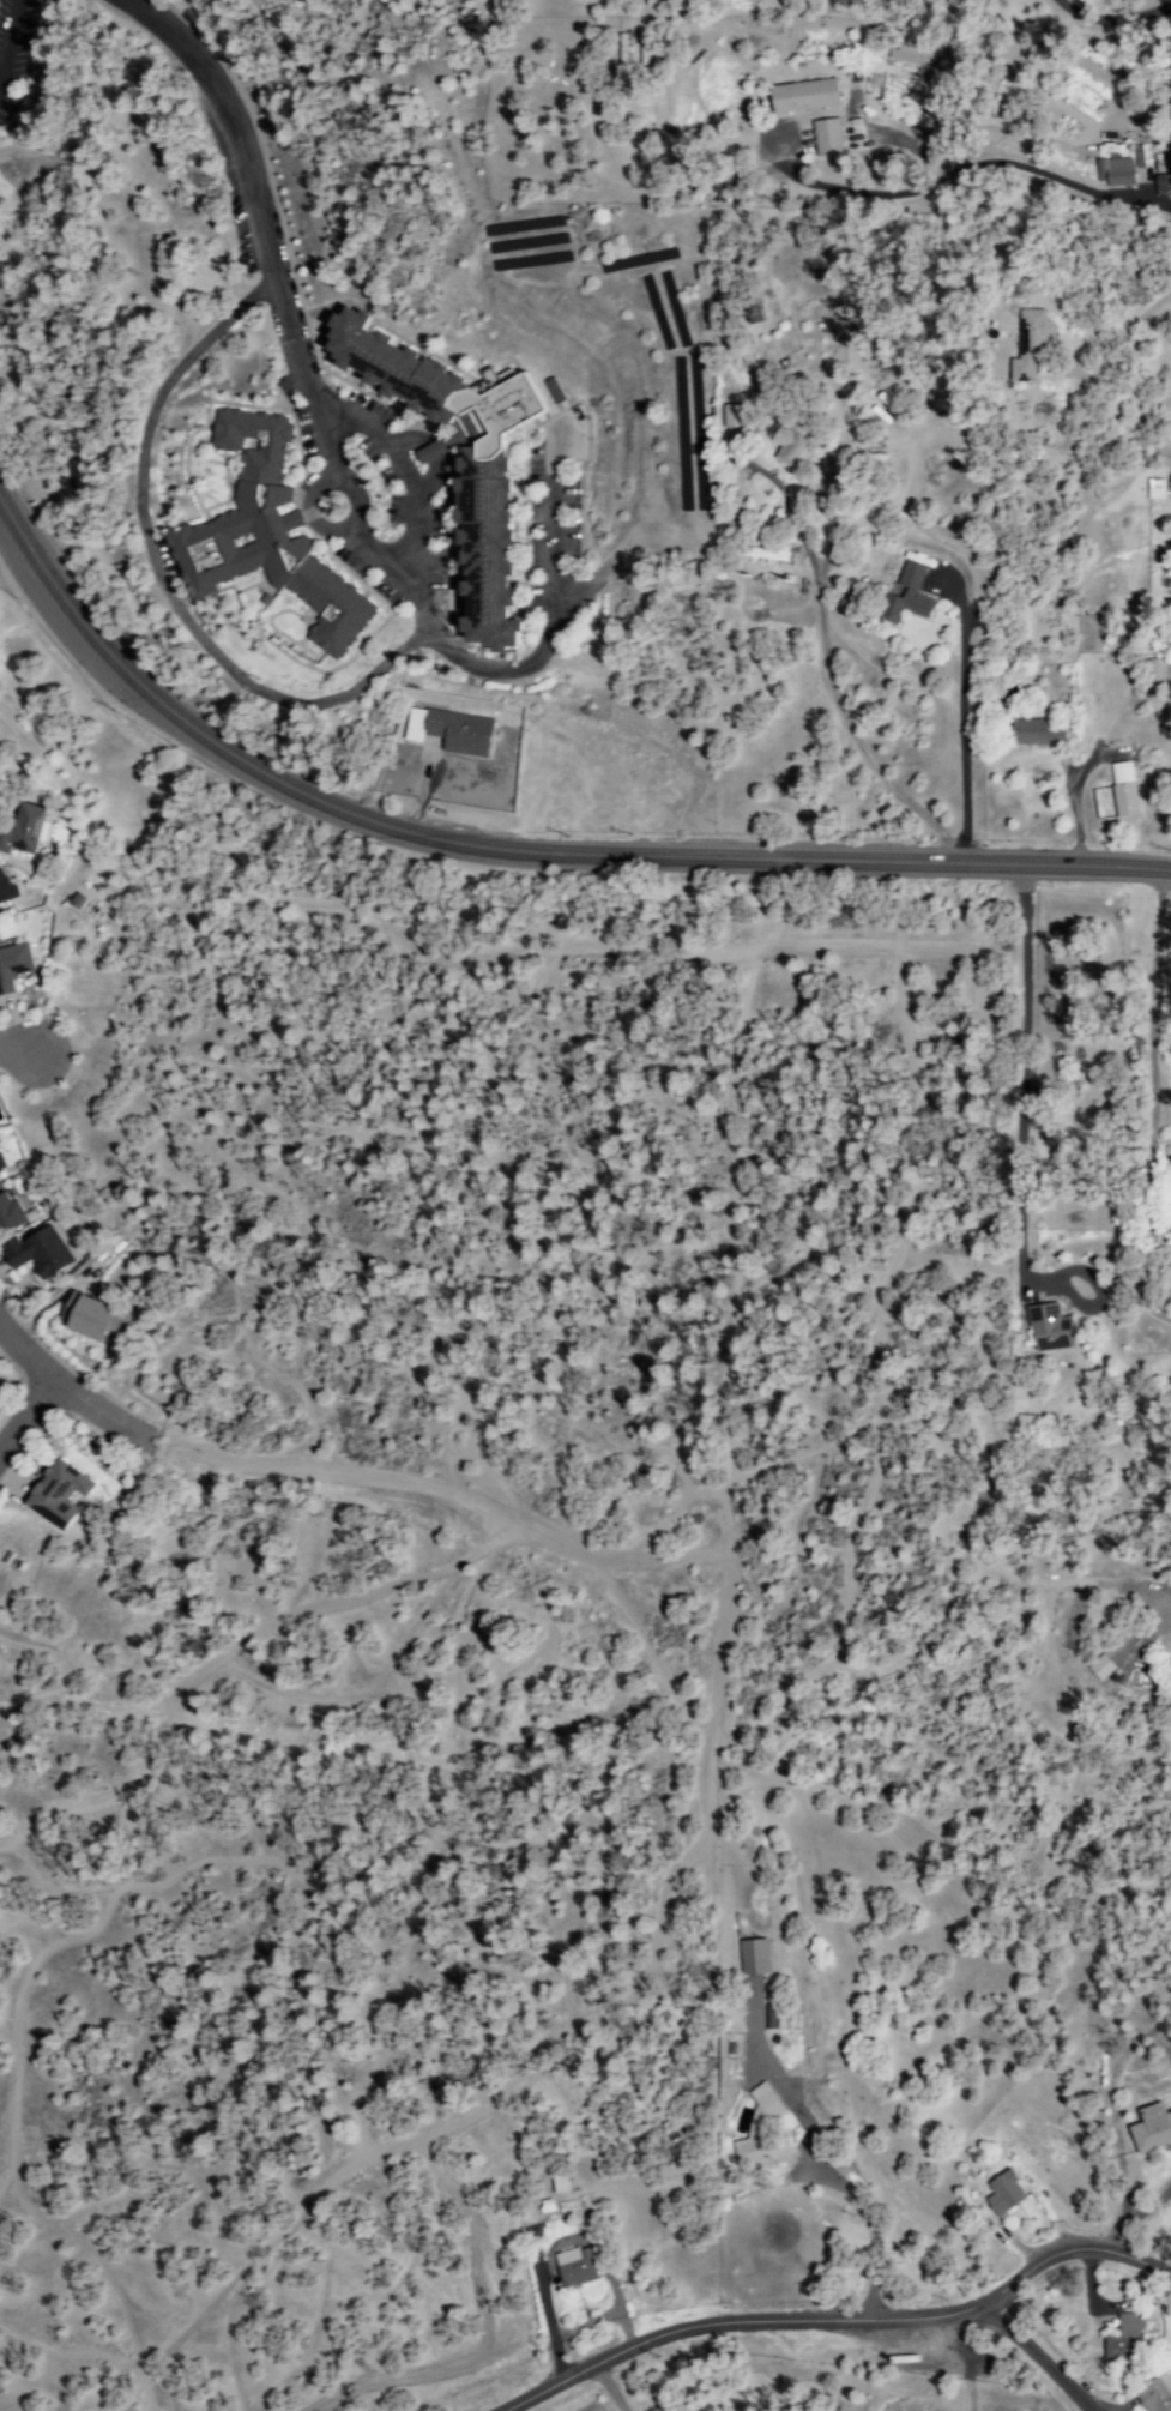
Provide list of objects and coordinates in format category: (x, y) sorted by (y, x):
road: (1107, 13)
building: (917, 65)
building: (803, 97)
road: (228, 119)
building: (826, 138)
building: (1113, 174)
building: (1027, 345)
building: (731, 417)
building: (786, 447)
building: (433, 451)
building: (482, 519)
building: (266, 537)
building: (905, 596)
building: (1154, 680)
road: (302, 704)
road: (954, 721)
building: (448, 733)
building: (1037, 733)
building: (1122, 790)
building: (22, 831)
road: (517, 849)
building: (5, 888)
building: (74, 903)
building: (13, 968)
road: (13, 1039)
road: (1013, 1072)
road: (1147, 1101)
building: (1, 1171)
building: (8, 1214)
building: (36, 1253)
building: (92, 1319)
building: (1048, 1330)
road: (68, 1390)
road: (28, 1417)
building: (56, 1495)
building: (1099, 1668)
building: (753, 1958)
building: (756, 2129)
building: (1151, 2129)
building: (1002, 2194)
road: (869, 2219)
road: (1146, 2230)
building: (573, 2268)
road: (843, 2323)
building: (1121, 2338)
road: (1039, 2357)
road: (833, 2365)
road: (611, 2388)
building: (1155, 2394)

